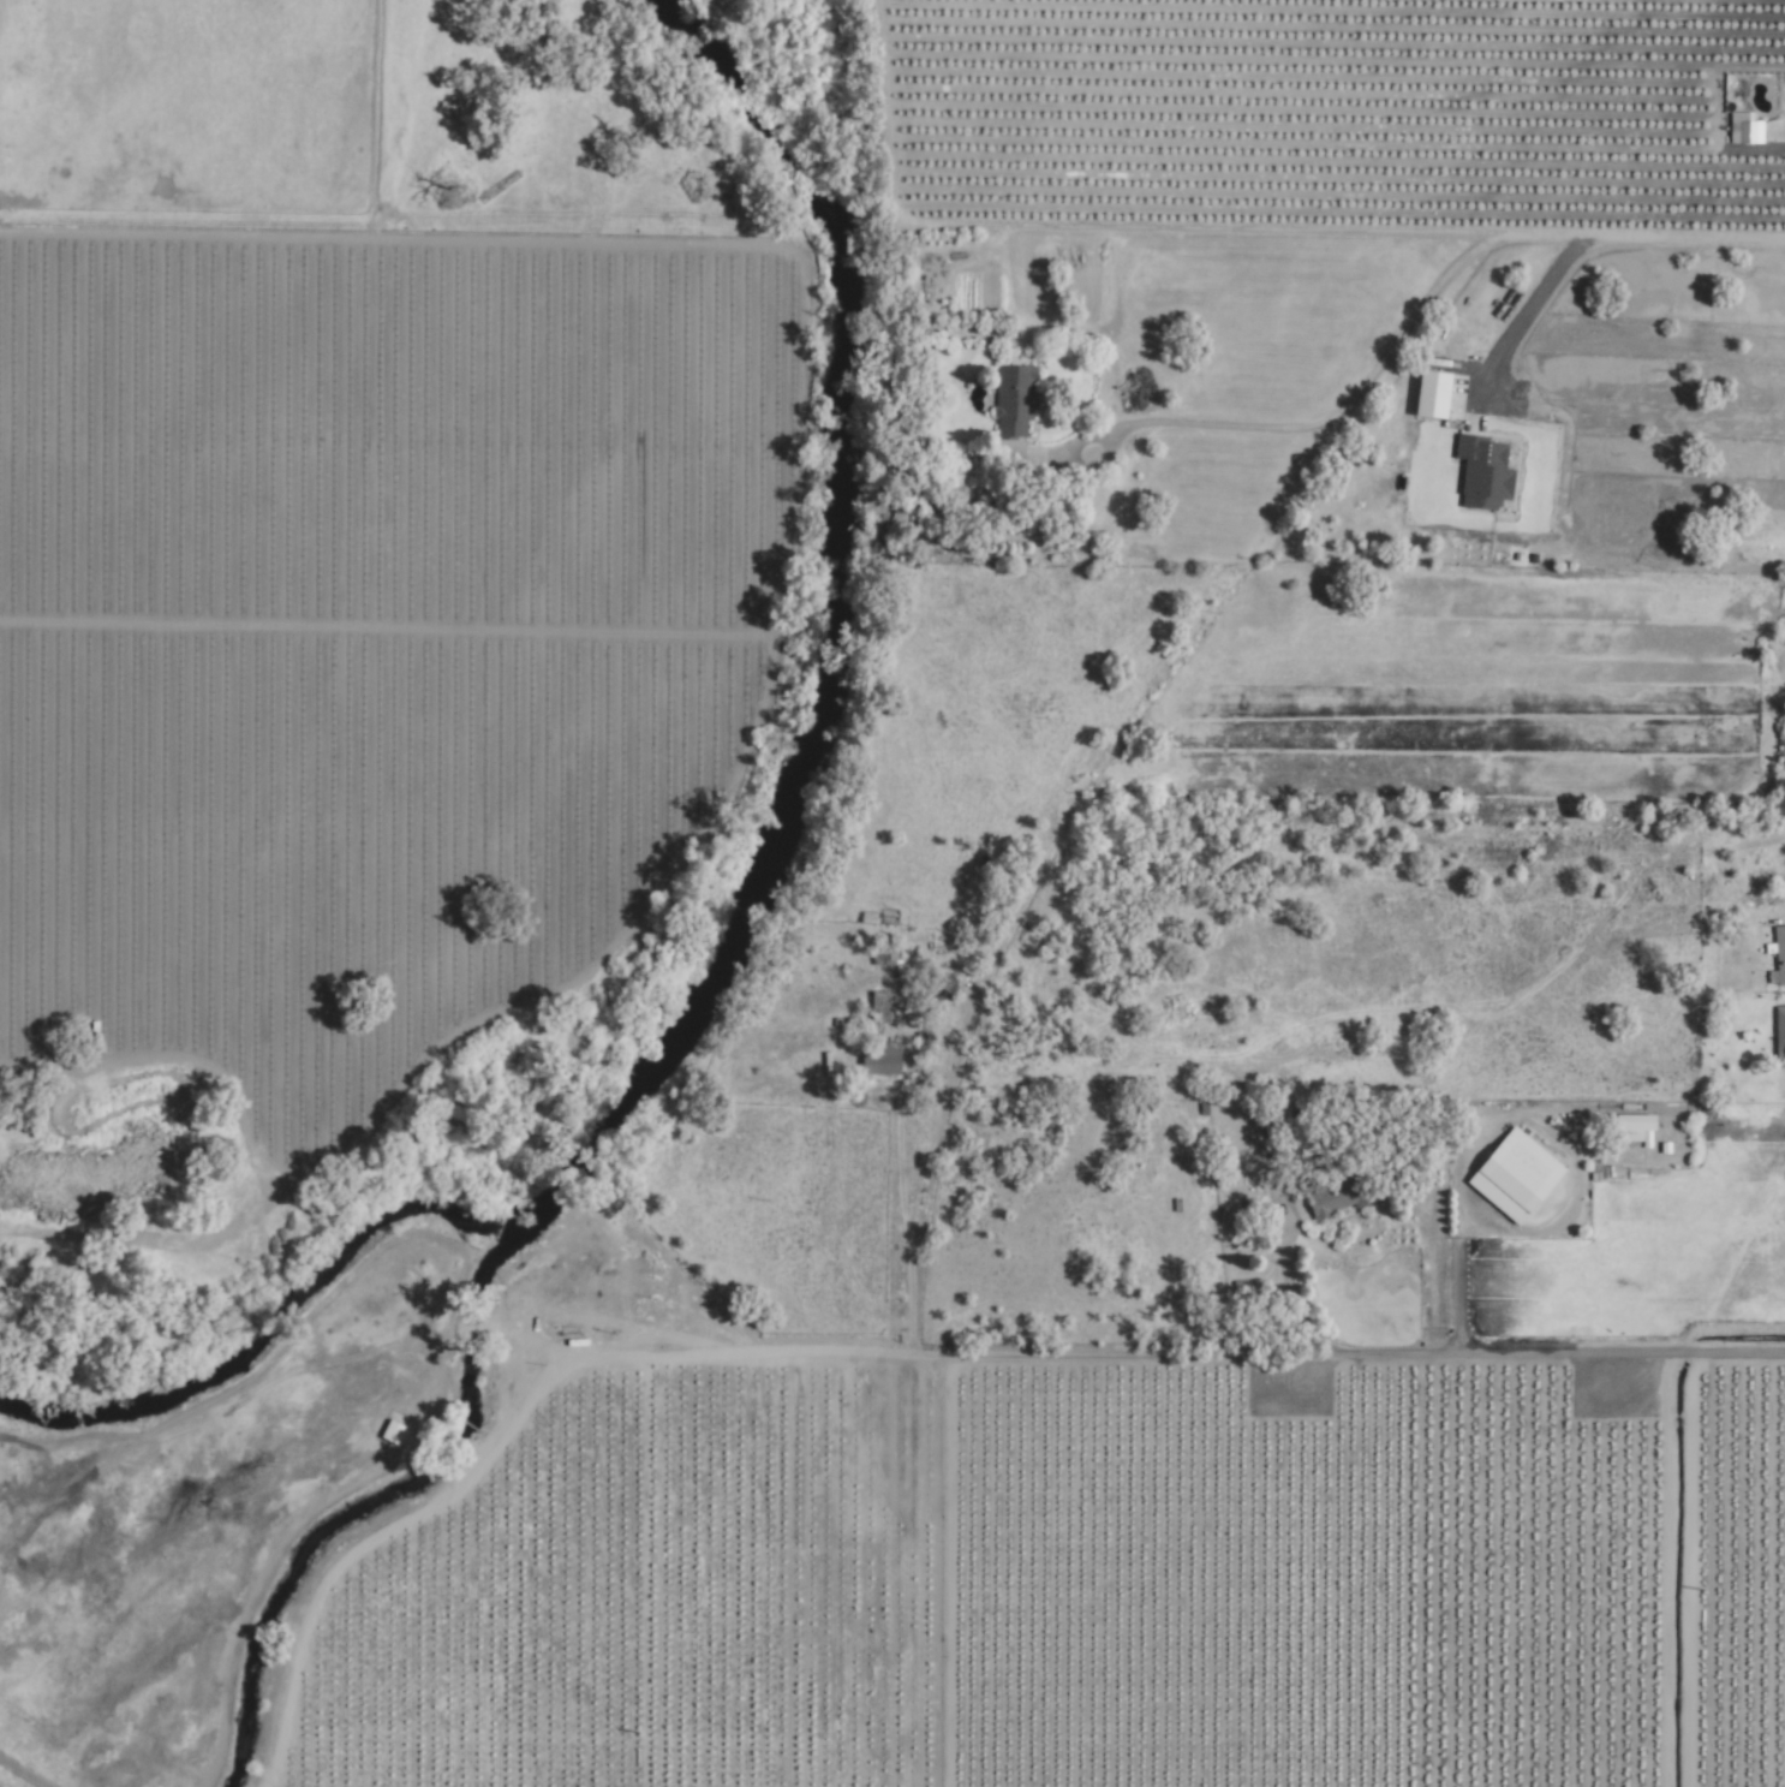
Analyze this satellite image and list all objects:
building: (1748, 127)
road: (1684, 239)
road: (1528, 315)
road: (1357, 388)
building: (1433, 393)
building: (1015, 400)
building: (1485, 472)
crop: (438, 504)
building: (1777, 957)
crop: (305, 1006)
building: (880, 1006)
building: (1780, 1030)
building: (883, 1059)
building: (1635, 1127)
crop: (208, 1152)
building: (1516, 1177)
building: (1339, 1198)
road: (1457, 1281)
road: (1286, 1289)
crop: (639, 1294)
road: (1532, 1351)
crop: (180, 1512)
crop: (1403, 1568)
crop: (553, 1596)
crop: (832, 1600)

